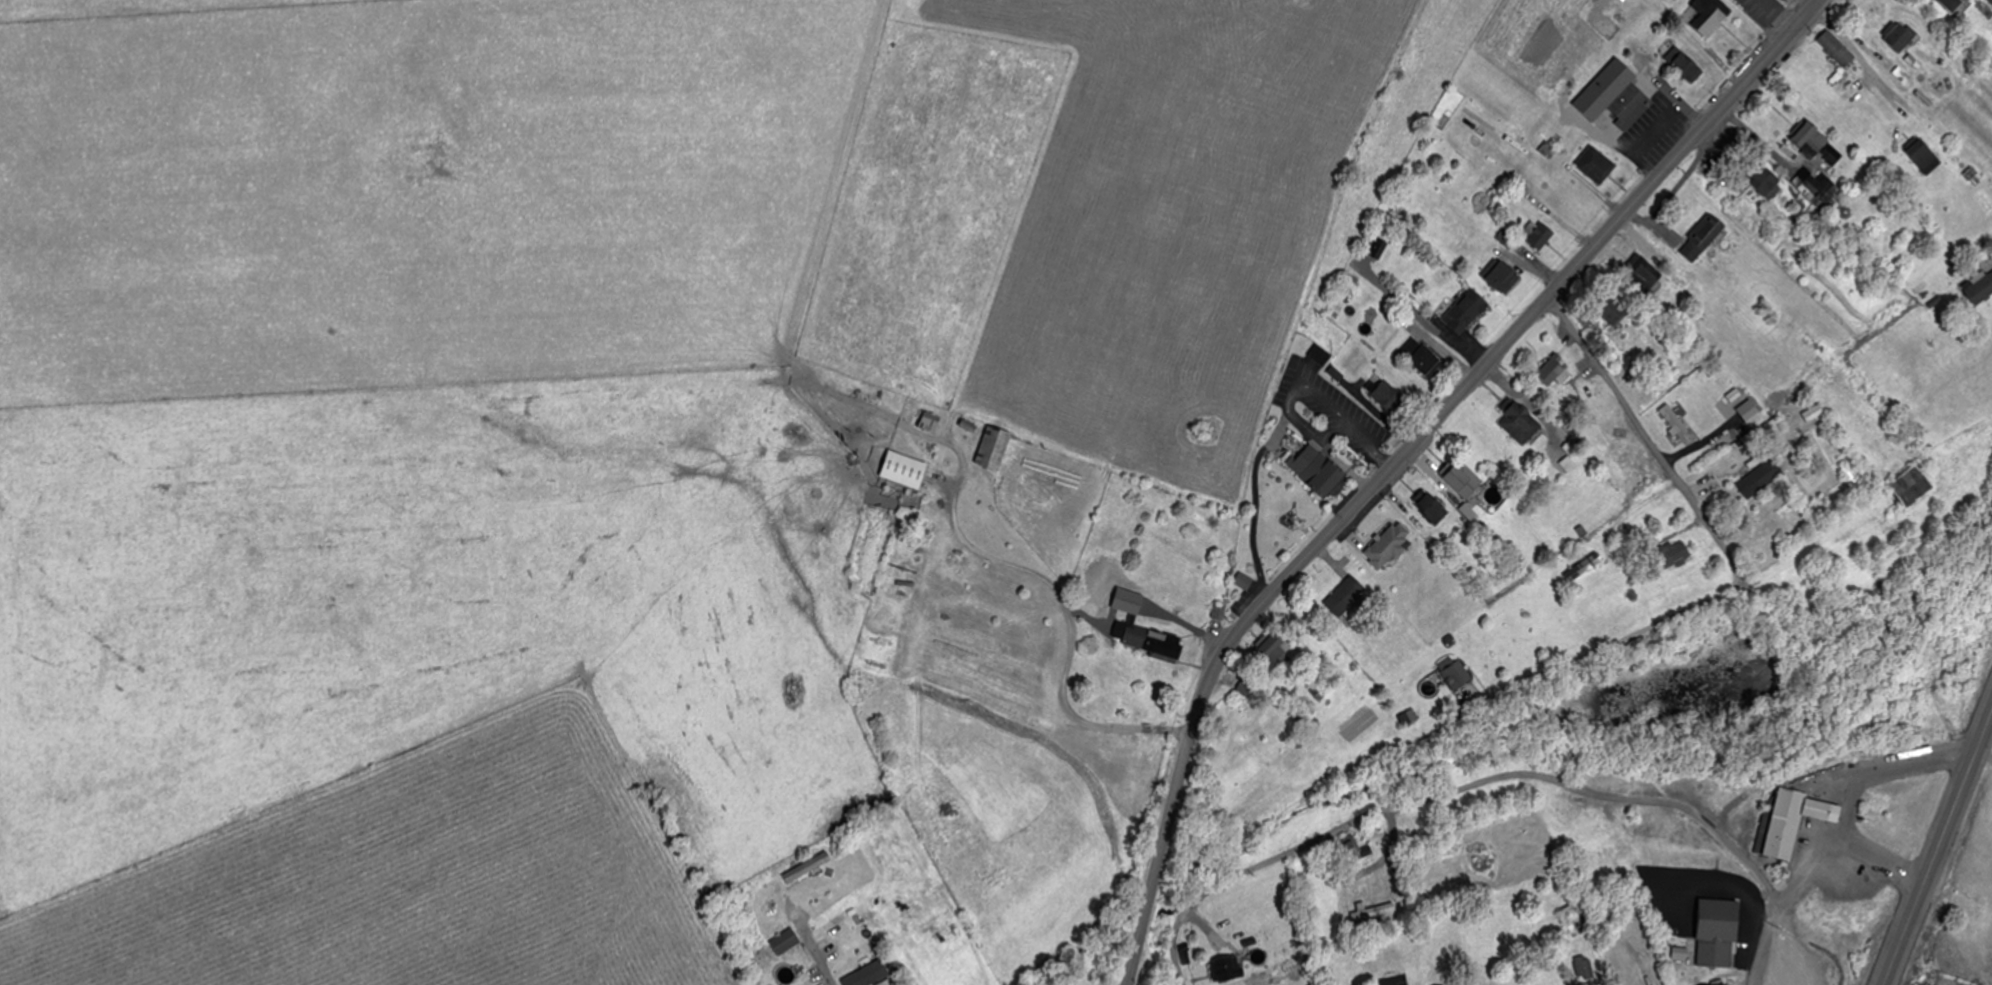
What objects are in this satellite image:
building: (1990, 1)
building: (1952, 4)
building: (1763, 10)
building: (1709, 15)
building: (1899, 35)
building: (1837, 49)
building: (1685, 64)
building: (1651, 72)
building: (1615, 96)
building: (1818, 144)
building: (1925, 157)
building: (1597, 165)
building: (1767, 182)
building: (1819, 189)
building: (1565, 202)
building: (1539, 235)
building: (1703, 237)
building: (1644, 272)
building: (1504, 278)
building: (1981, 288)
building: (1611, 310)
building: (1466, 311)
building: (1422, 356)
building: (1554, 371)
road: (1295, 387)
crop: (651, 406)
building: (1749, 410)
building: (1674, 420)
building: (931, 422)
building: (1521, 424)
road: (1648, 439)
building: (995, 449)
road: (1402, 452)
flagpole: (1362, 462)
building: (1318, 469)
building: (1760, 479)
building: (1464, 480)
road: (1574, 486)
building: (1912, 487)
road: (1259, 501)
building: (1433, 509)
building: (1390, 546)
building: (1674, 555)
building: (1346, 596)
building: (958, 602)
road: (1066, 603)
building: (1154, 642)
building: (1276, 653)
road: (1575, 655)
building: (1457, 674)
road: (1656, 800)
road: (1852, 800)
building: (1823, 807)
gas station: (1823, 807)
building: (1786, 820)
road: (1299, 846)
road: (1938, 847)
building: (1348, 849)
road: (1877, 857)
building: (809, 867)
road: (1721, 880)
building: (1575, 919)
building: (1717, 929)
road: (1753, 934)
building: (785, 941)
road: (1765, 953)
road: (816, 954)
building: (1584, 966)
building: (1229, 967)
flagpole: (1729, 978)
flagpole: (1733, 980)
road: (1390, 981)
building: (1719, 983)
flagpole: (1729, 984)

